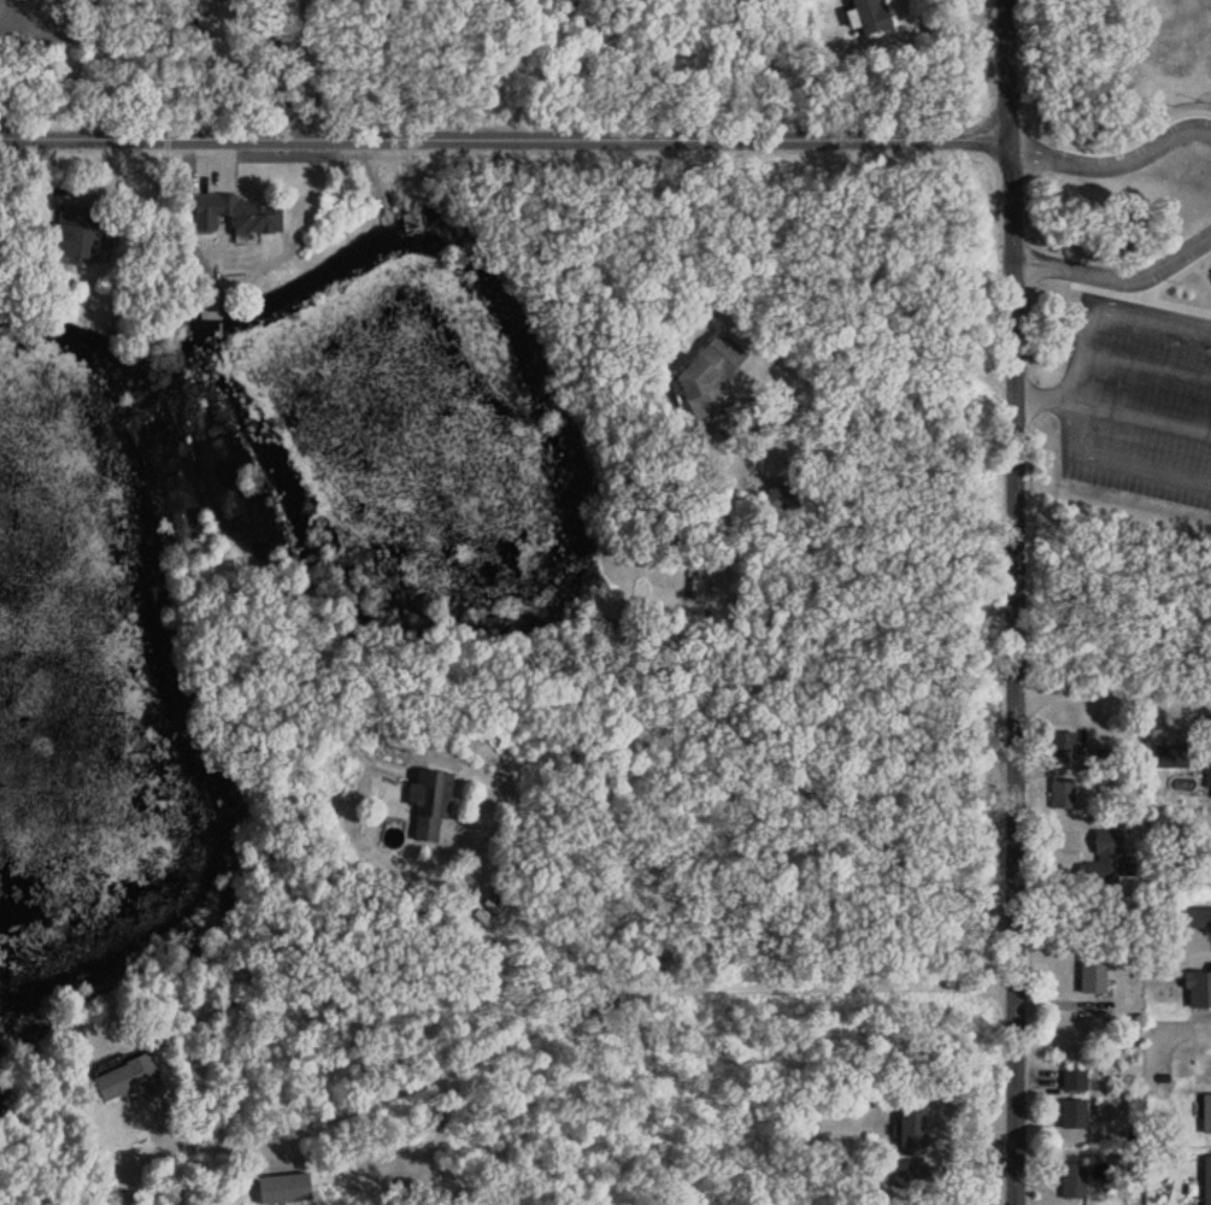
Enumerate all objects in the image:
building: (865, 16)
road: (98, 64)
road: (274, 66)
road: (301, 66)
road: (236, 76)
road: (504, 135)
road: (1113, 167)
building: (233, 214)
building: (410, 223)
building: (75, 234)
road: (1115, 278)
road: (1106, 306)
building: (206, 311)
road: (1010, 345)
road: (1145, 368)
parking lot: (1140, 369)
road: (876, 371)
building: (705, 384)
road: (1040, 398)
road: (1141, 410)
road: (1109, 463)
building: (777, 498)
building: (592, 624)
road: (1111, 693)
building: (1062, 747)
building: (1169, 756)
building: (1206, 782)
building: (1060, 794)
building: (425, 803)
road: (815, 807)
building: (1100, 860)
road: (634, 872)
building: (1194, 917)
road: (1016, 947)
building: (1089, 972)
road: (569, 1009)
building: (120, 1077)
building: (1071, 1082)
building: (1205, 1113)
building: (1069, 1115)
building: (909, 1130)
building: (903, 1172)
building: (1205, 1180)
building: (1071, 1181)
building: (280, 1187)

